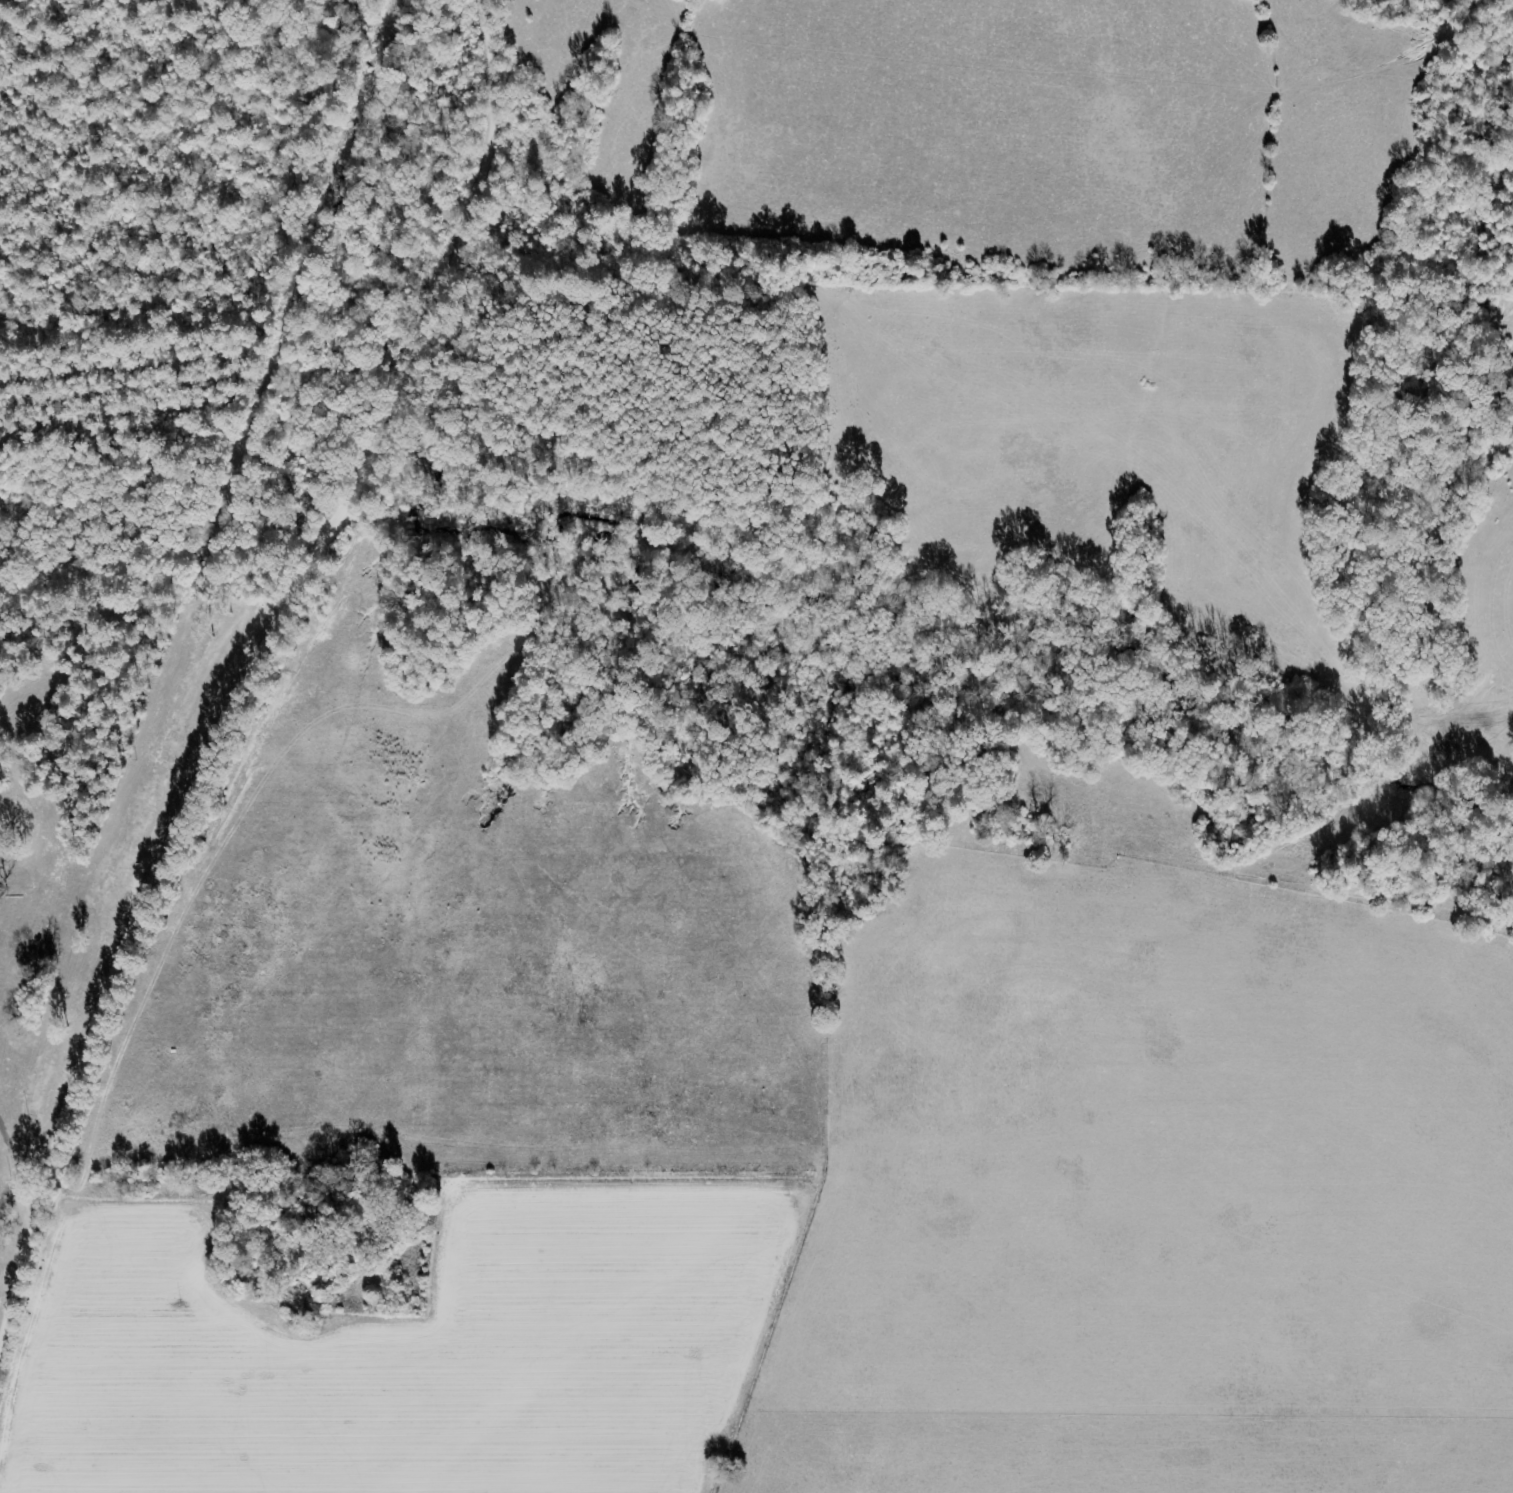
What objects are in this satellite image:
road: (247, 665)

